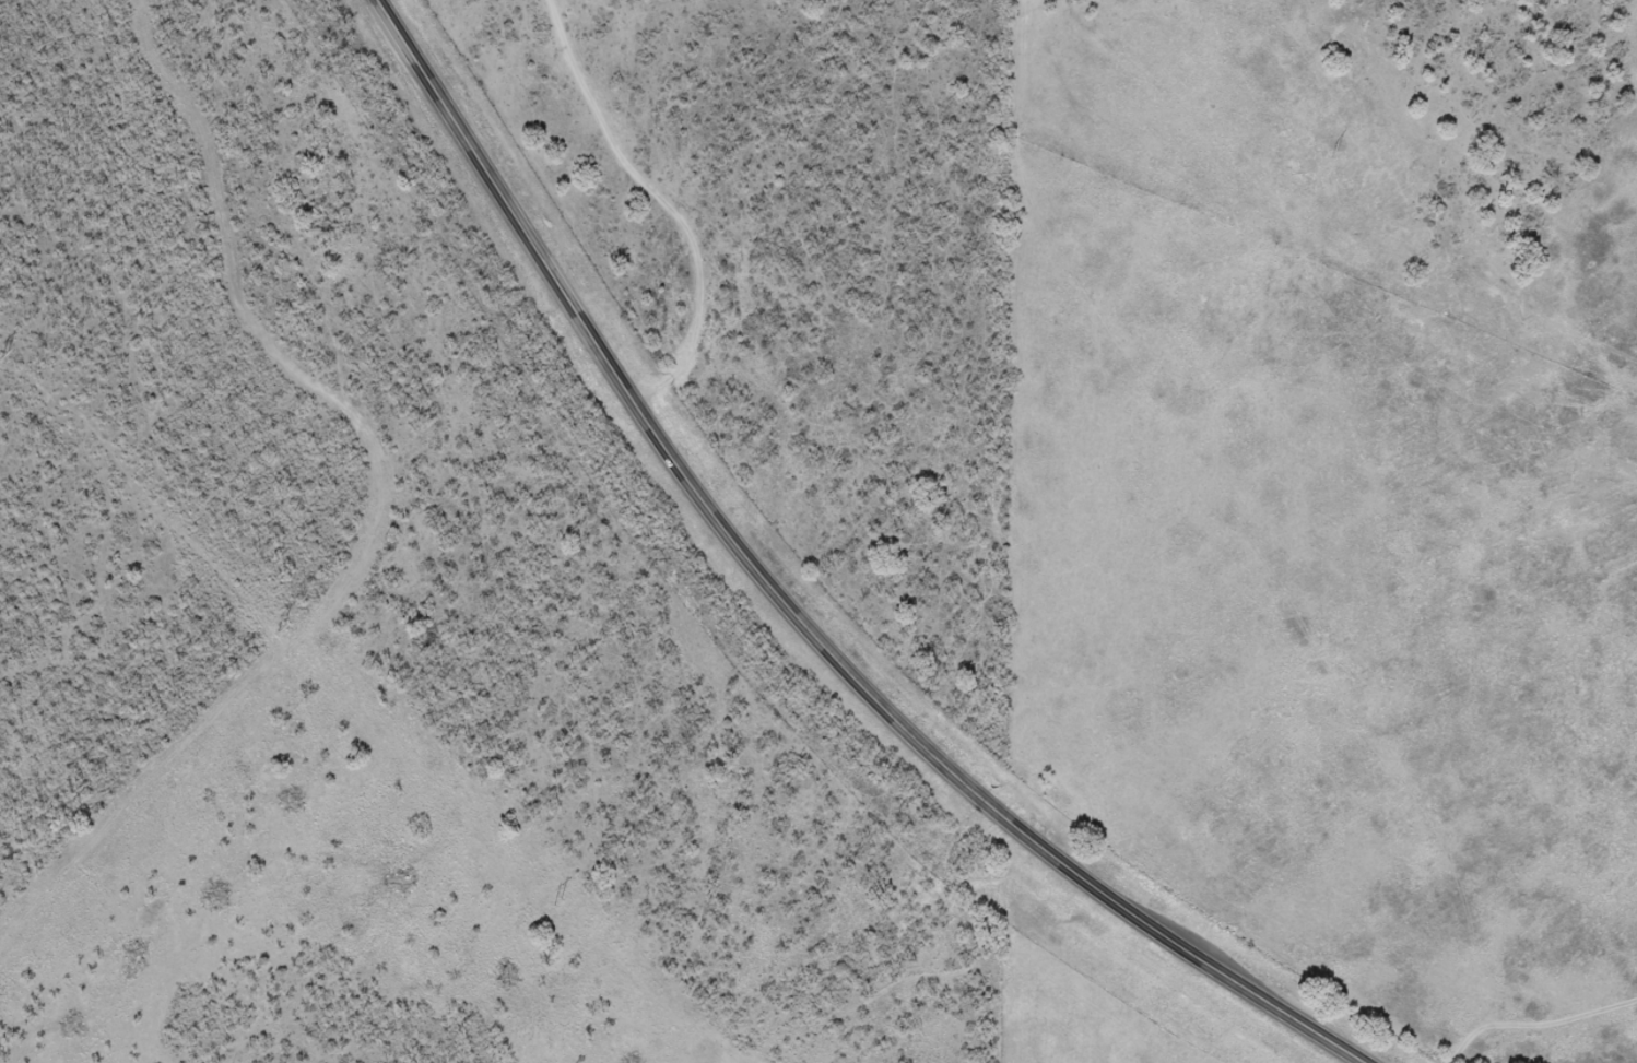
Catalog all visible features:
power tower: (1333, 153)
road: (643, 199)
power tower: (15, 355)
road: (788, 610)
power tower: (287, 627)
power tower: (563, 909)
road: (1536, 1024)

